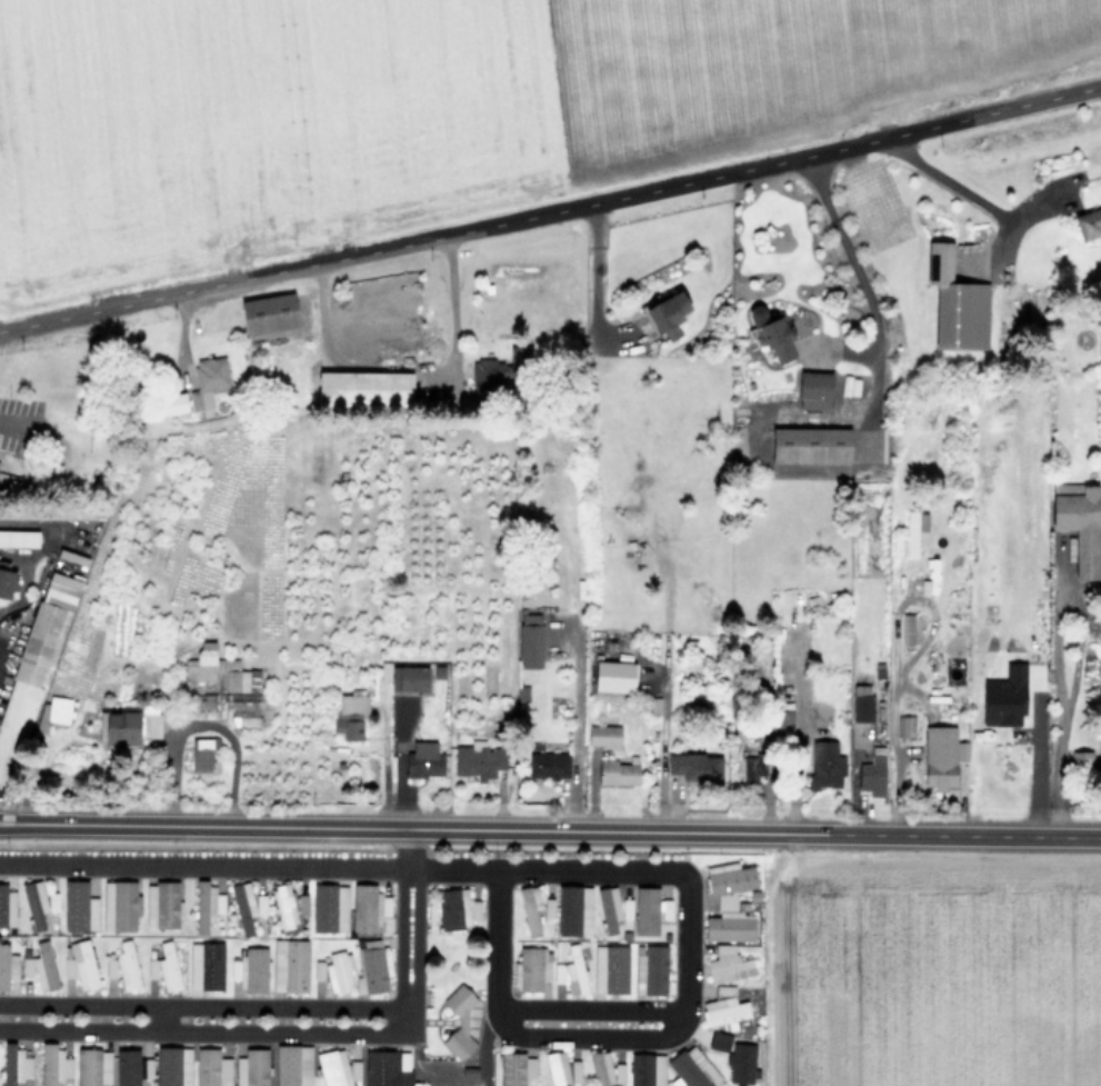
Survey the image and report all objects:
crop: (391, 89)
road: (967, 191)
road: (551, 211)
building: (1088, 222)
road: (852, 261)
road: (590, 297)
building: (955, 302)
road: (452, 310)
building: (665, 312)
building: (269, 313)
building: (770, 331)
building: (488, 373)
building: (208, 381)
building: (363, 388)
building: (814, 390)
building: (172, 403)
building: (810, 445)
building: (8, 482)
building: (51, 515)
building: (1078, 522)
building: (910, 535)
building: (19, 538)
road: (21, 581)
building: (7, 584)
road: (925, 636)
building: (530, 640)
road: (1075, 661)
building: (32, 666)
building: (219, 670)
building: (613, 676)
building: (404, 677)
building: (521, 694)
building: (241, 703)
building: (861, 703)
building: (53, 711)
building: (350, 715)
building: (247, 720)
building: (783, 723)
building: (129, 725)
road: (577, 735)
building: (603, 735)
road: (797, 741)
building: (202, 755)
building: (941, 756)
road: (1029, 757)
building: (423, 759)
building: (478, 759)
building: (1082, 759)
building: (824, 764)
road: (393, 765)
building: (548, 765)
building: (695, 767)
building: (753, 767)
building: (1015, 767)
building: (618, 771)
building: (872, 773)
road: (381, 828)
road: (932, 835)
road: (408, 847)
road: (341, 865)
building: (730, 879)
building: (727, 901)
building: (6, 904)
building: (119, 905)
building: (161, 905)
building: (206, 905)
building: (79, 906)
building: (246, 906)
building: (288, 906)
building: (329, 907)
building: (368, 907)
building: (548, 907)
building: (612, 907)
building: (457, 908)
building: (530, 908)
building: (573, 910)
building: (649, 910)
building: (729, 926)
road: (400, 934)
road: (497, 944)
road: (414, 946)
road: (684, 946)
building: (7, 965)
building: (80, 965)
building: (206, 965)
building: (289, 965)
building: (373, 965)
building: (728, 965)
building: (40, 966)
building: (127, 966)
crop: (931, 966)
building: (110, 967)
building: (151, 967)
building: (168, 967)
building: (531, 968)
building: (610, 968)
building: (250, 969)
building: (650, 969)
building: (339, 972)
building: (571, 972)
road: (198, 1006)
building: (725, 1008)
road: (588, 1009)
road: (401, 1015)
road: (162, 1017)
road: (203, 1029)
road: (589, 1036)
building: (719, 1040)
road: (484, 1046)
building: (741, 1063)
building: (14, 1065)
building: (53, 1065)
building: (292, 1065)
building: (133, 1066)
building: (173, 1066)
building: (92, 1067)
building: (692, 1067)
building: (211, 1068)
building: (251, 1068)
building: (337, 1068)
building: (387, 1068)
building: (517, 1069)
building: (562, 1069)
building: (647, 1069)

